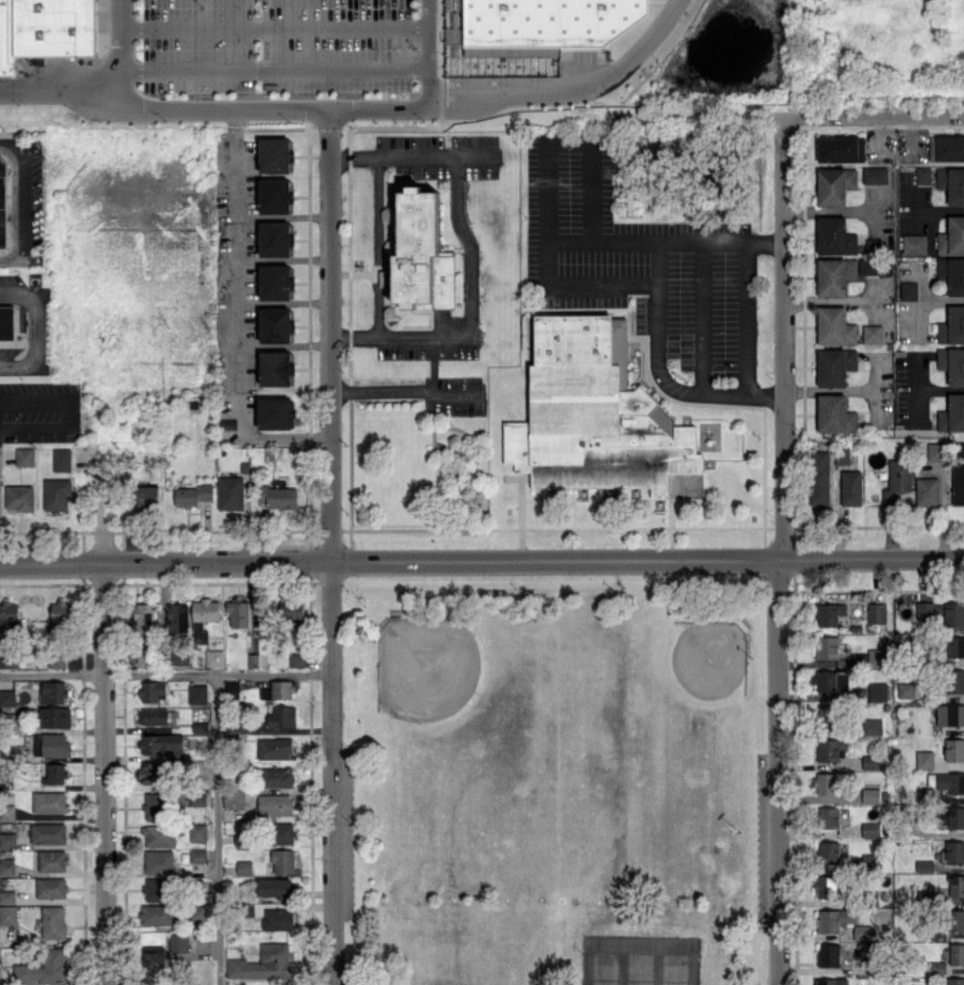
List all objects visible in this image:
building: (543, 20)
road: (271, 26)
building: (45, 29)
road: (116, 50)
road: (426, 50)
road: (271, 67)
road: (516, 91)
road: (161, 105)
road: (876, 124)
road: (568, 142)
building: (949, 147)
building: (840, 149)
building: (274, 155)
building: (874, 175)
building: (923, 175)
building: (951, 184)
building: (834, 185)
building: (274, 195)
road: (18, 200)
building: (3, 201)
building: (834, 236)
building: (952, 236)
building: (275, 239)
building: (914, 244)
building: (420, 254)
road: (469, 255)
road: (655, 260)
building: (875, 267)
building: (951, 274)
road: (233, 275)
building: (834, 276)
road: (572, 281)
building: (275, 282)
building: (908, 290)
road: (702, 315)
road: (744, 317)
building: (6, 322)
building: (275, 325)
building: (951, 326)
building: (834, 327)
road: (35, 328)
building: (871, 334)
building: (952, 364)
building: (834, 366)
building: (275, 368)
road: (399, 393)
building: (590, 411)
building: (276, 413)
building: (834, 414)
building: (952, 414)
road: (287, 444)
building: (961, 449)
building: (936, 451)
building: (841, 455)
building: (24, 456)
building: (61, 459)
building: (820, 478)
building: (897, 482)
building: (957, 485)
building: (850, 487)
building: (230, 492)
building: (927, 492)
building: (57, 494)
building: (193, 495)
building: (19, 497)
building: (146, 497)
building: (279, 497)
road: (330, 544)
road: (781, 555)
road: (481, 560)
building: (292, 608)
building: (876, 612)
building: (238, 613)
building: (828, 613)
building: (9, 614)
building: (954, 614)
building: (61, 615)
building: (204, 616)
building: (144, 617)
building: (177, 617)
building: (956, 646)
building: (826, 647)
building: (215, 657)
building: (876, 657)
building: (143, 658)
building: (180, 658)
building: (10, 659)
building: (57, 659)
building: (297, 659)
road: (164, 674)
building: (823, 681)
building: (954, 681)
building: (232, 688)
park: (676, 688)
building: (153, 690)
building: (905, 690)
building: (878, 691)
building: (53, 692)
building: (197, 694)
building: (7, 697)
park: (462, 702)
building: (949, 714)
building: (152, 716)
building: (282, 716)
building: (55, 717)
building: (826, 717)
building: (871, 726)
building: (51, 745)
building: (163, 745)
building: (275, 748)
building: (829, 749)
building: (954, 750)
building: (924, 759)
building: (871, 762)
building: (151, 772)
building: (55, 773)
road: (103, 773)
building: (277, 777)
park: (553, 778)
building: (948, 782)
building: (870, 795)
building: (197, 799)
building: (234, 799)
building: (49, 802)
building: (274, 804)
building: (154, 806)
building: (7, 812)
building: (952, 816)
building: (829, 817)
road: (218, 829)
building: (869, 829)
building: (198, 832)
building: (48, 833)
building: (283, 833)
building: (159, 836)
building: (7, 840)
building: (953, 853)
building: (198, 855)
building: (52, 860)
building: (867, 860)
building: (283, 861)
building: (159, 862)
building: (924, 865)
building: (7, 866)
building: (244, 867)
building: (956, 885)
building: (273, 886)
building: (826, 886)
building: (51, 887)
building: (158, 889)
building: (7, 896)
building: (8, 914)
building: (156, 914)
building: (279, 918)
building: (834, 919)
building: (956, 920)
building: (53, 922)
building: (179, 942)
building: (956, 954)
building: (828, 955)
park: (639, 961)
building: (266, 963)
building: (153, 964)
building: (43, 968)
building: (935, 968)
building: (831, 981)
building: (955, 981)

